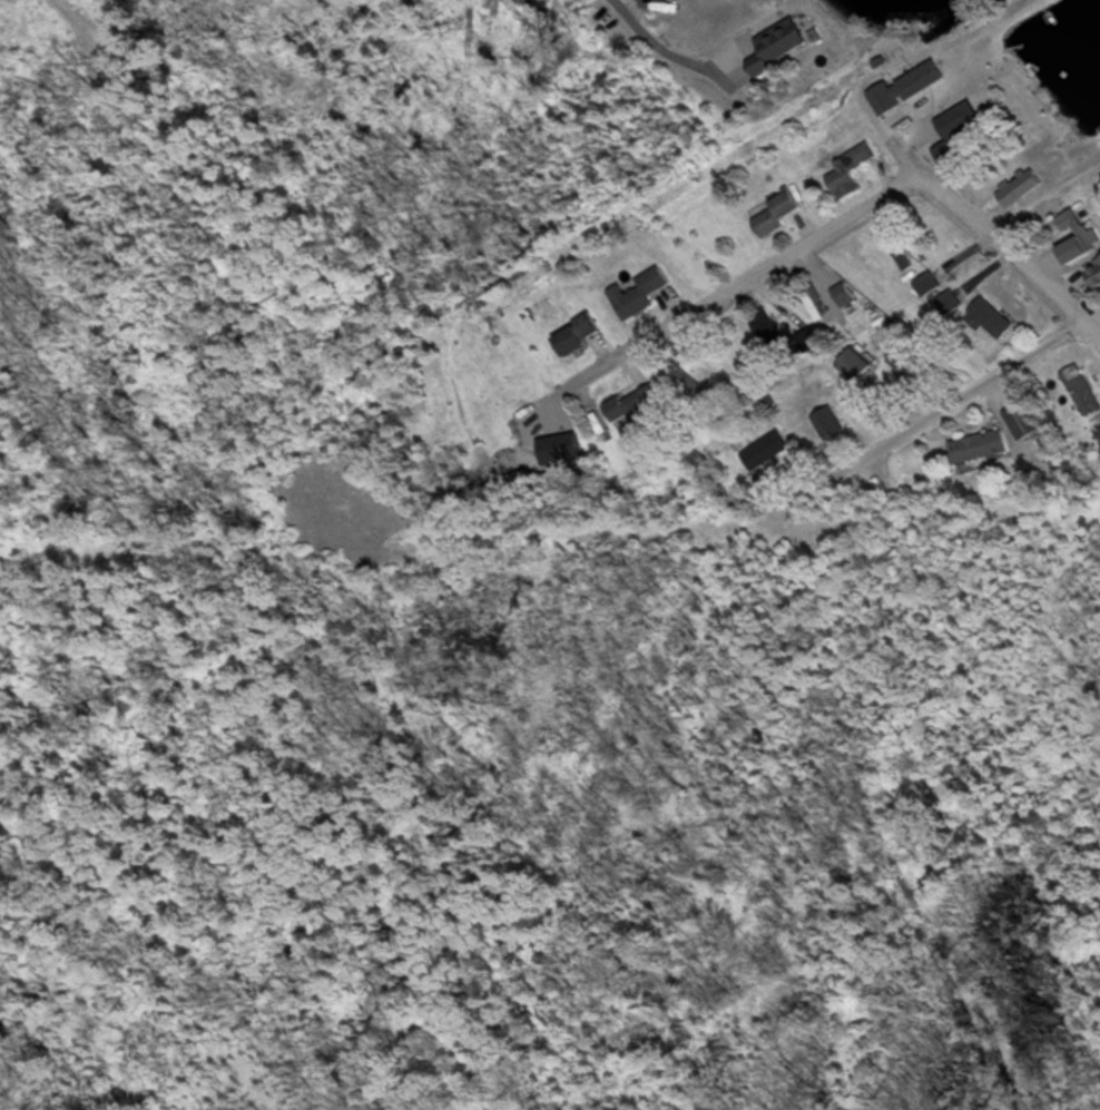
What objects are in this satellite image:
building: (776, 43)
road: (662, 47)
building: (906, 85)
building: (954, 128)
building: (846, 170)
building: (1019, 187)
building: (776, 213)
building: (1078, 230)
road: (999, 233)
building: (901, 252)
building: (1092, 272)
road: (746, 276)
building: (926, 283)
building: (639, 293)
building: (949, 302)
building: (988, 317)
building: (766, 327)
building: (574, 333)
building: (852, 363)
road: (962, 390)
building: (1081, 390)
building: (629, 405)
building: (827, 422)
building: (1098, 432)
building: (976, 445)
building: (560, 448)
building: (764, 451)
park: (888, 927)

